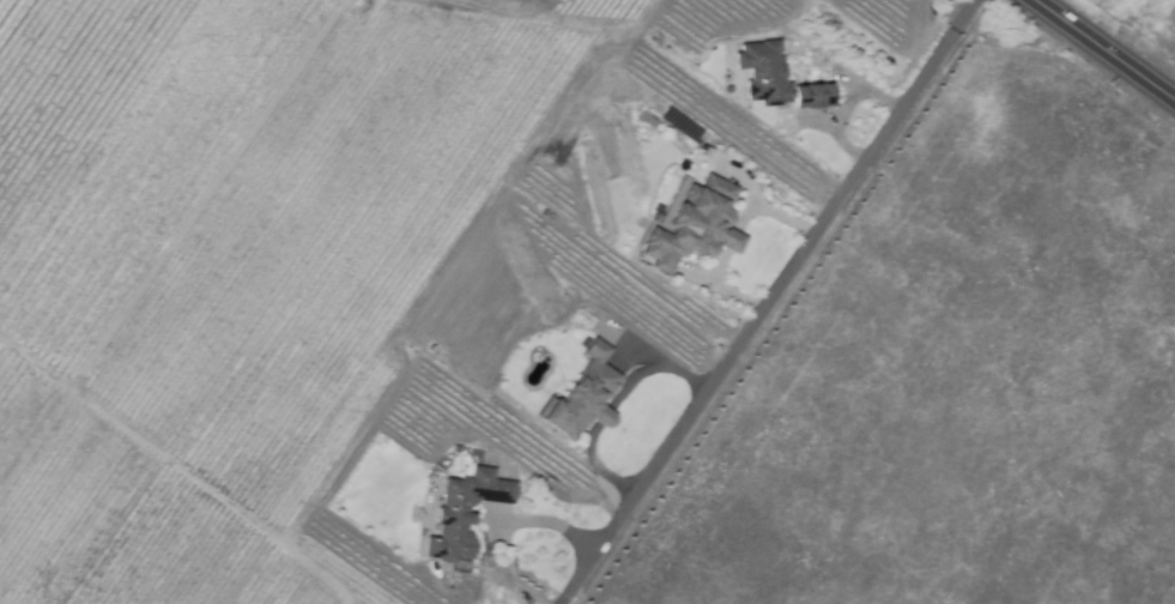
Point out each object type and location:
road: (1107, 48)
building: (777, 79)
road: (849, 105)
building: (695, 229)
road: (770, 301)
building: (585, 394)
road: (612, 407)
building: (458, 447)
building: (465, 512)
road: (546, 521)

